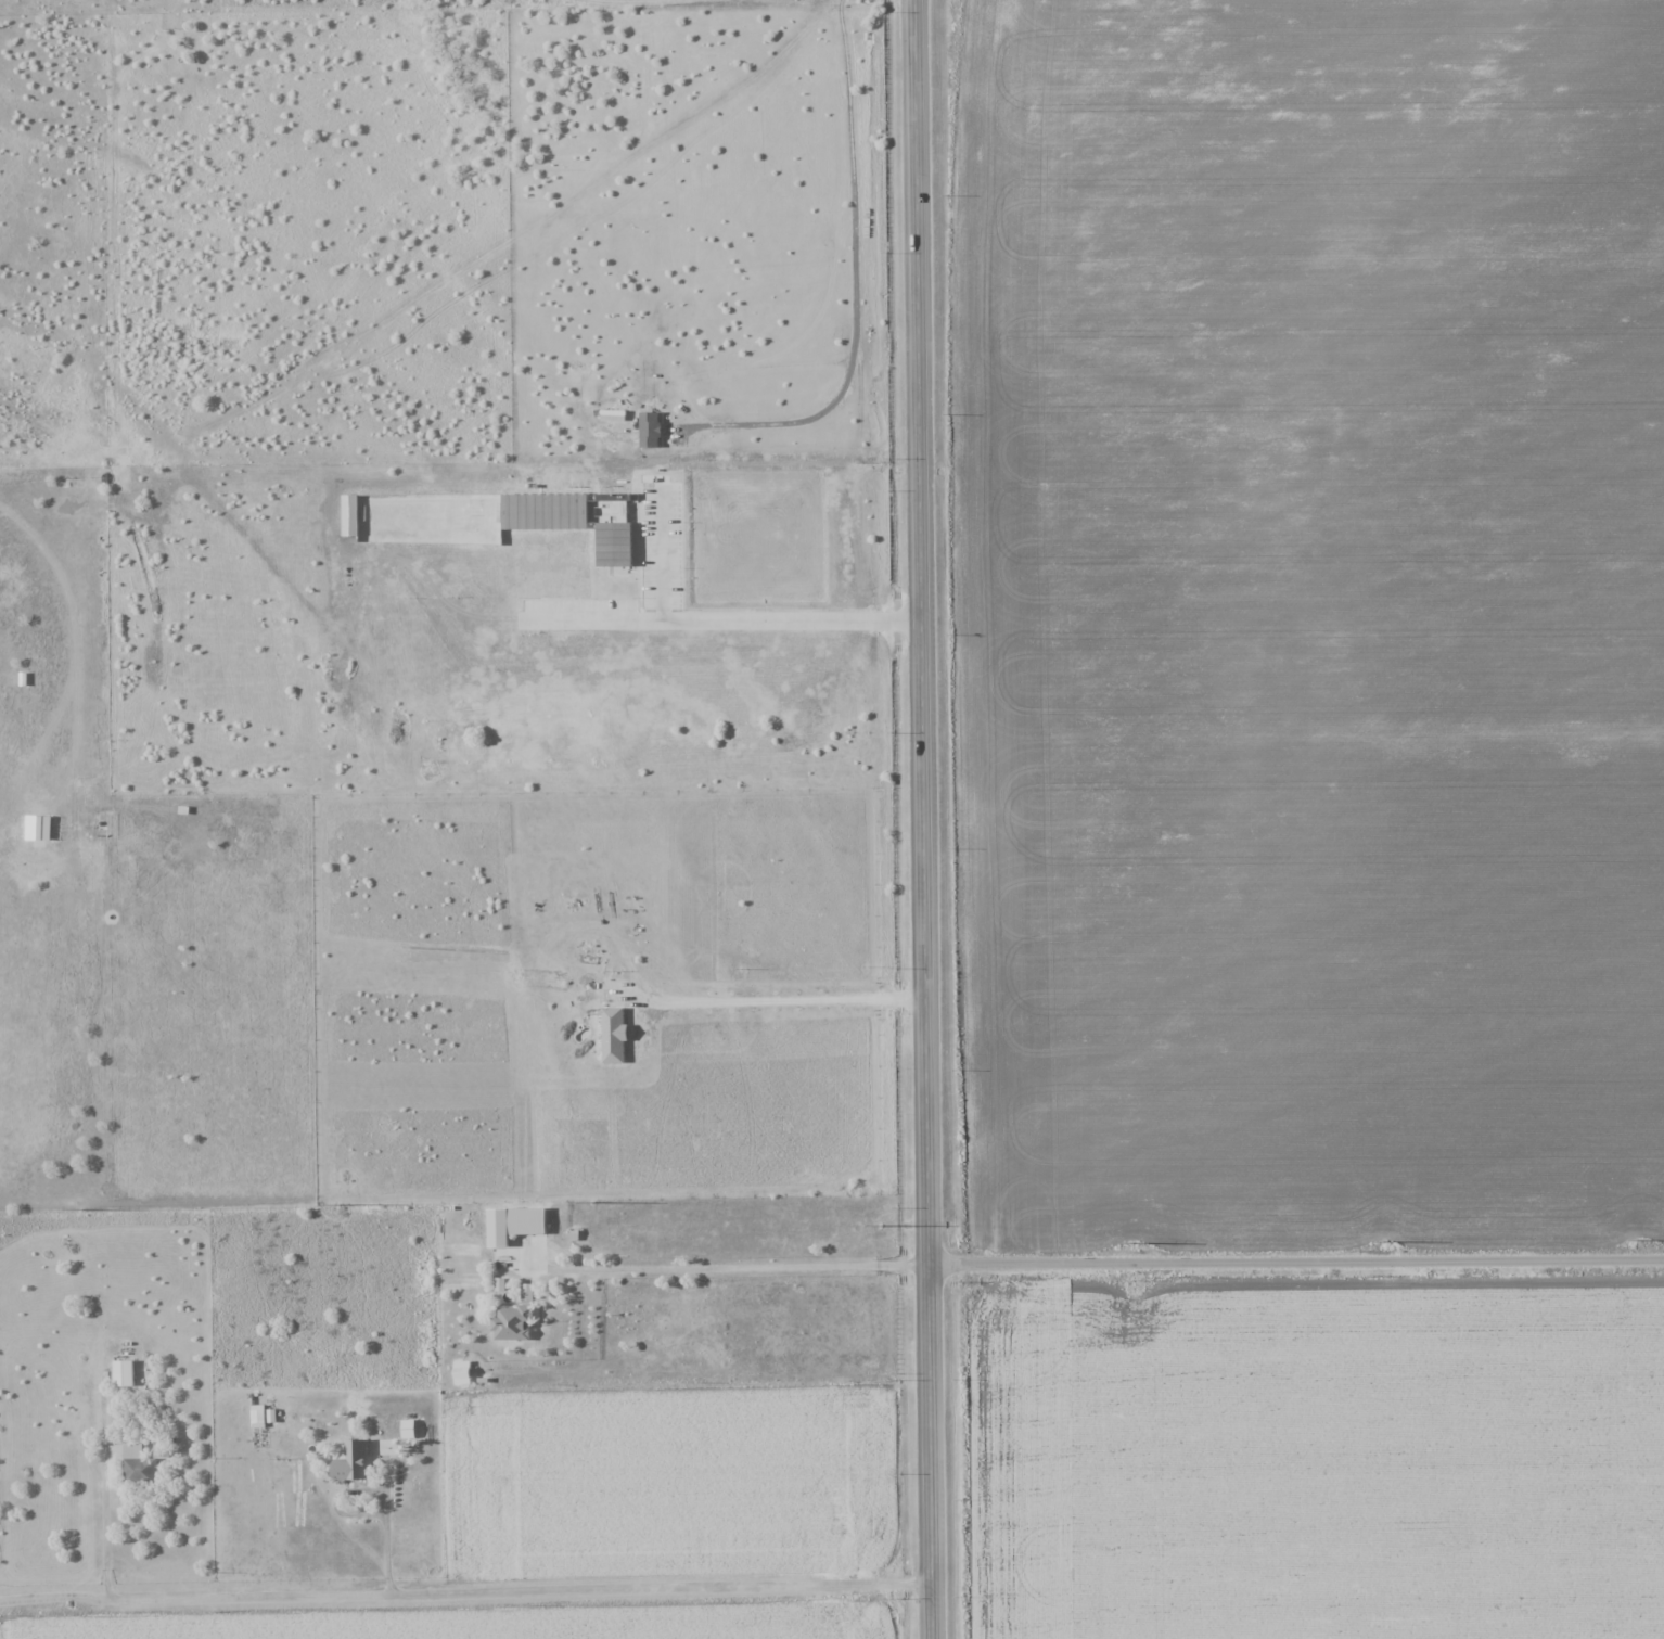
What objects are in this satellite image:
road: (924, 819)
power tower: (597, 1199)
power tower: (337, 1206)
power tower: (81, 1209)
building: (523, 1220)
power tower: (878, 1220)
power tower: (1634, 1243)
power tower: (1383, 1244)
power tower: (1124, 1246)
road: (1301, 1268)
building: (511, 1322)
building: (121, 1373)
building: (349, 1461)
building: (137, 1467)
road: (105, 1526)
road: (386, 1541)
road: (470, 1593)

